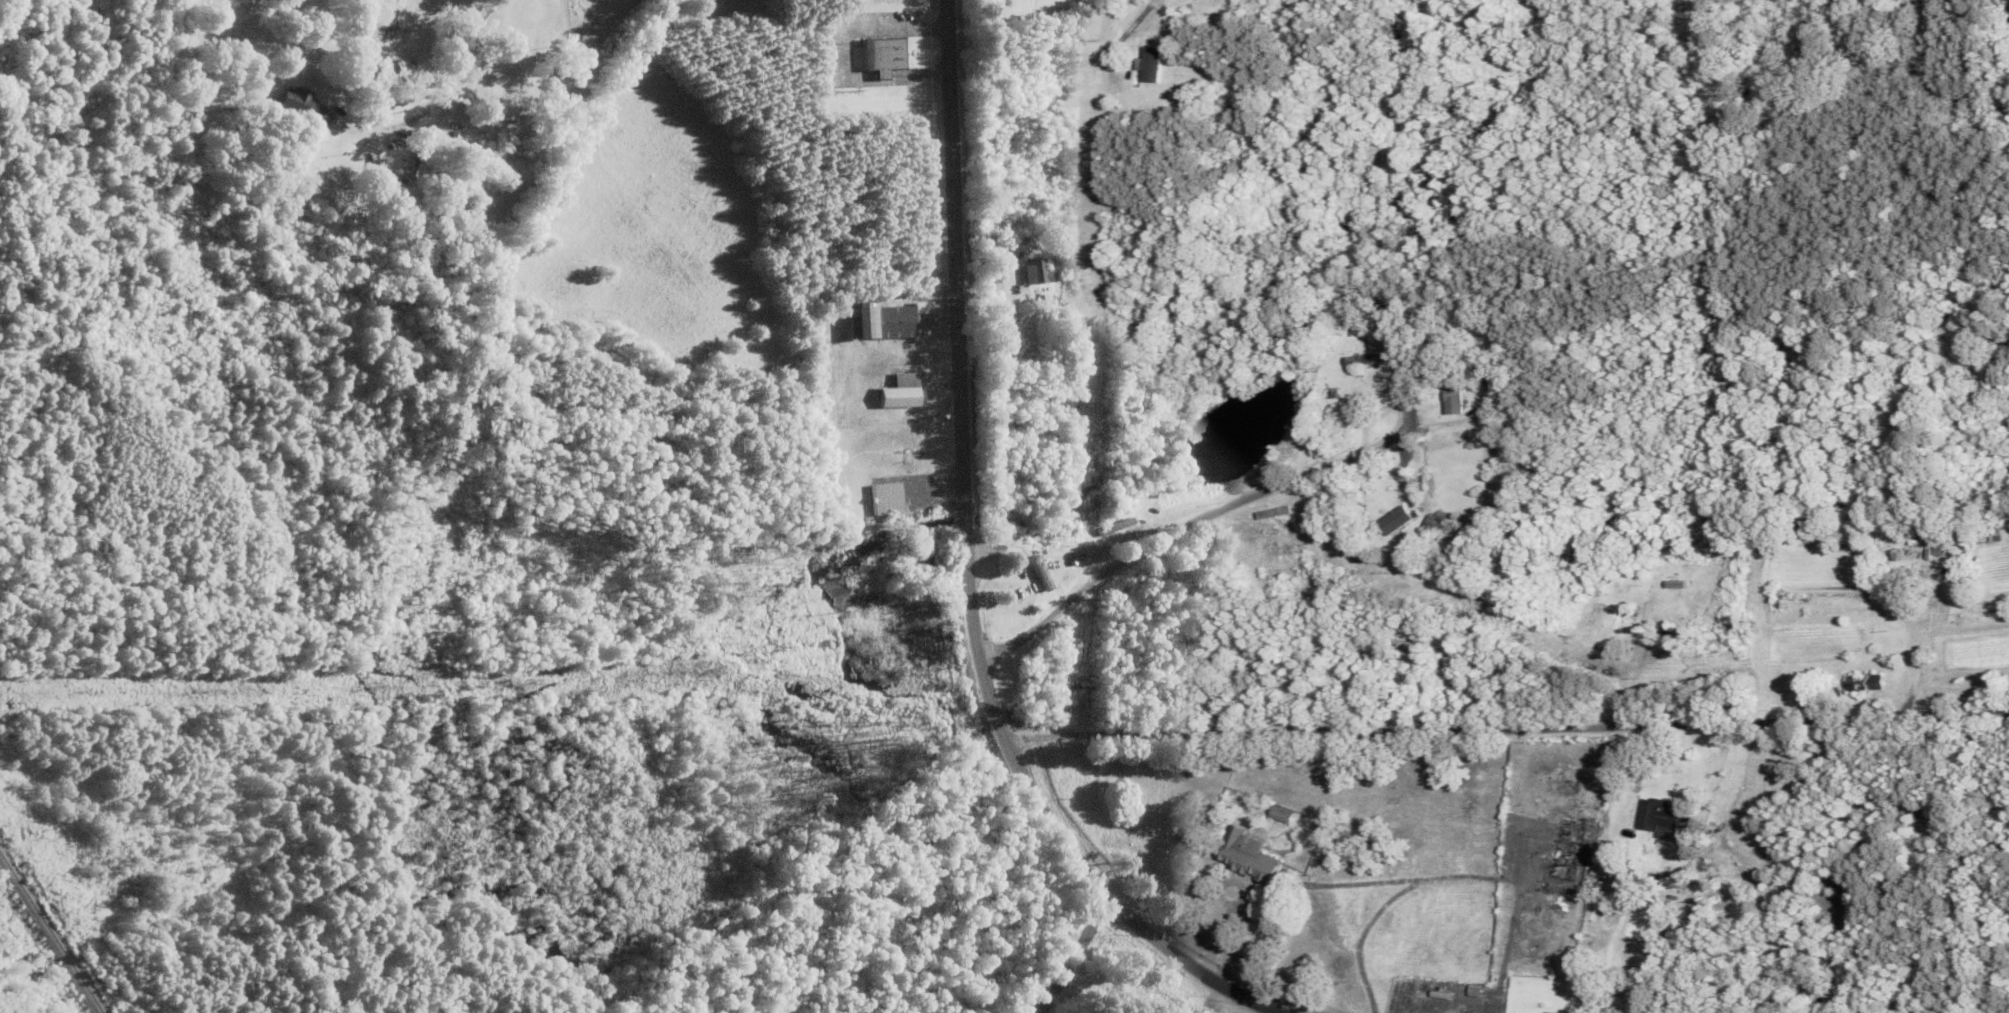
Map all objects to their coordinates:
road: (822, 23)
road: (1466, 32)
building: (881, 56)
road: (448, 68)
building: (299, 106)
building: (575, 148)
building: (515, 157)
building: (548, 203)
building: (1035, 273)
building: (882, 321)
building: (1365, 361)
building: (1489, 368)
building: (900, 392)
building: (1457, 394)
building: (886, 500)
building: (1399, 521)
road: (1183, 526)
building: (930, 558)
road: (966, 571)
building: (1043, 575)
building: (1867, 684)
road: (1506, 735)
building: (1660, 819)
building: (1249, 857)
building: (1573, 863)
railway: (50, 935)
road: (1070, 954)
building: (1549, 1012)

